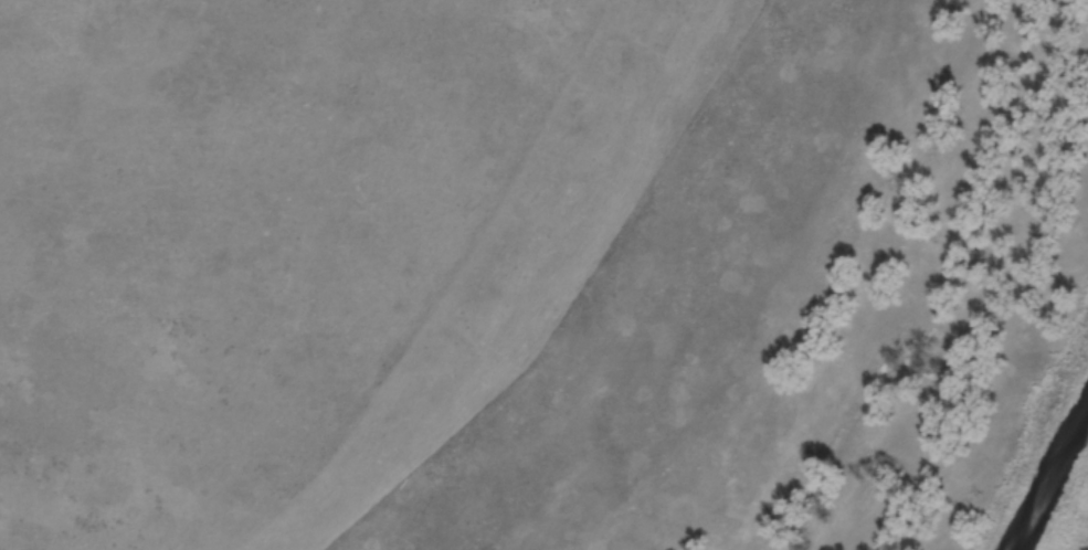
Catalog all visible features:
river: (1063, 494)

